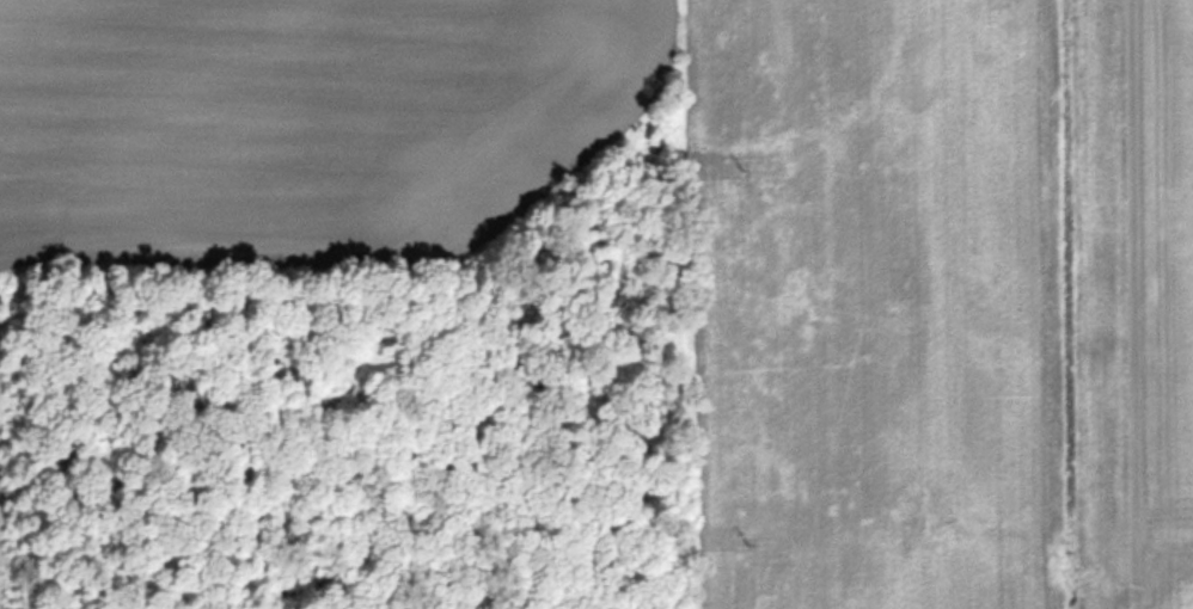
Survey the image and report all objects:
power tower: (744, 158)
road: (1132, 303)
power tower: (751, 533)
road: (1163, 552)

